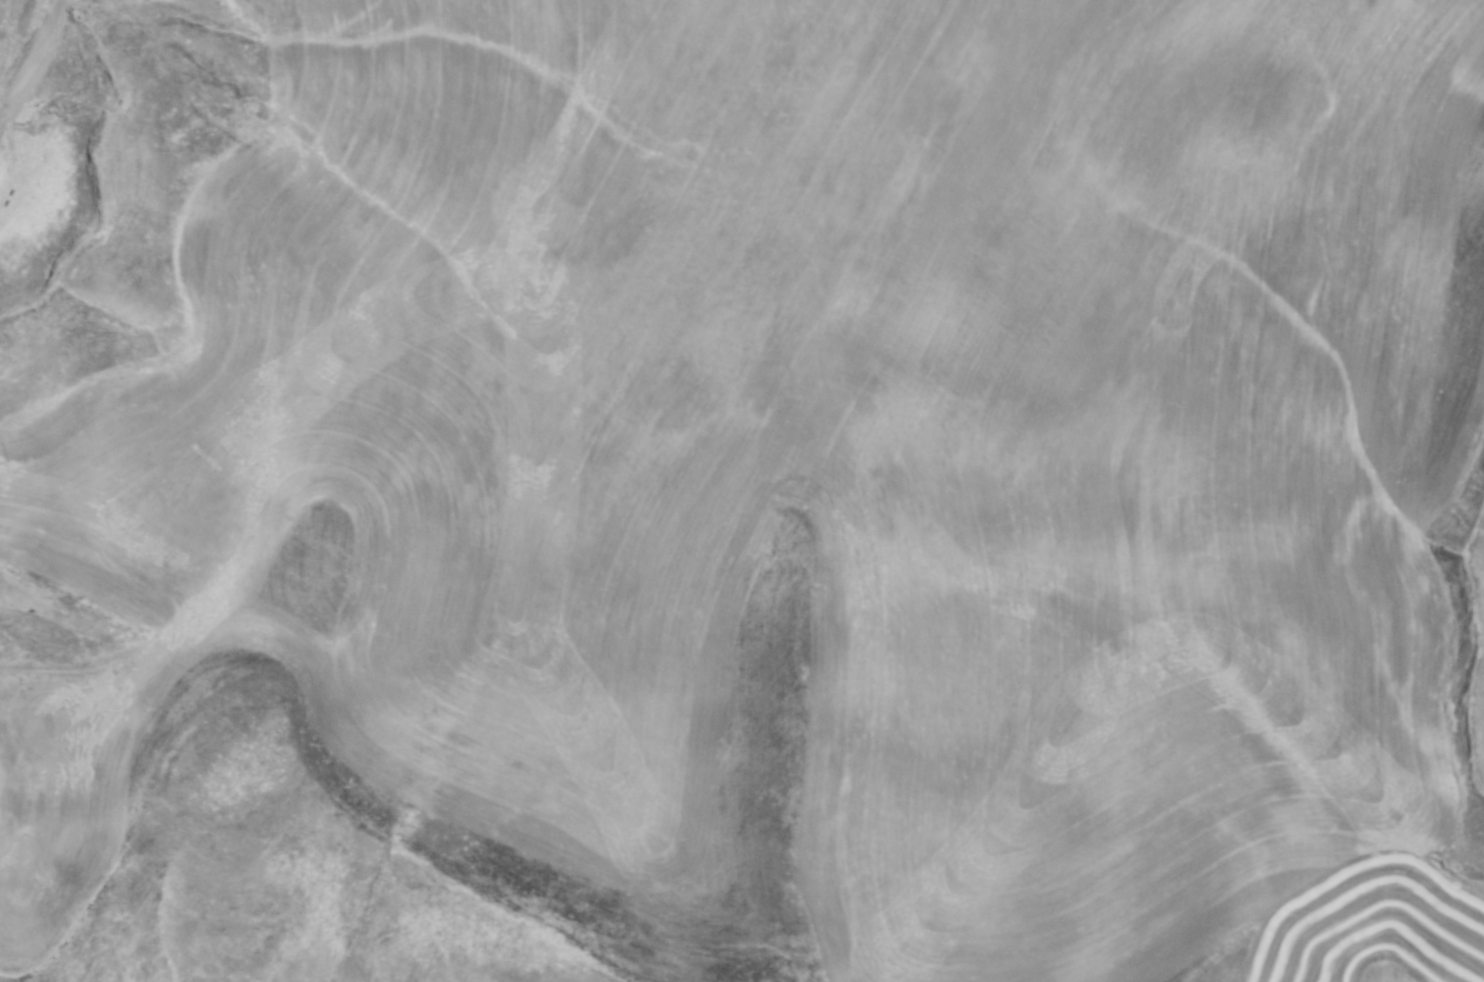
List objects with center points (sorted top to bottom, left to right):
road: (36, 54)

